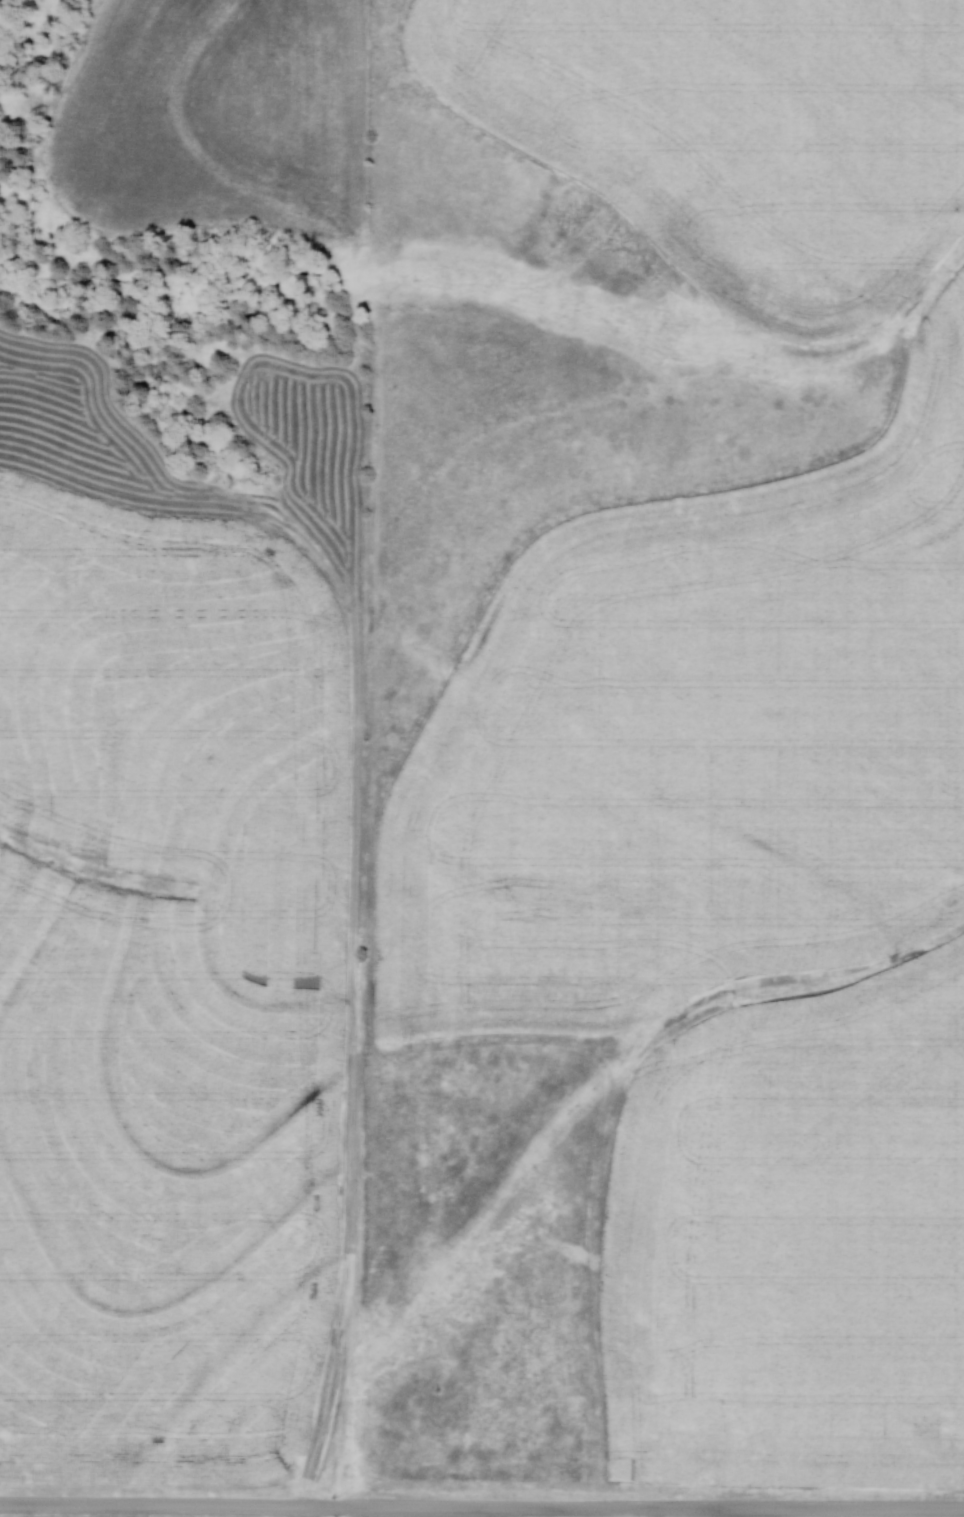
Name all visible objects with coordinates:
road: (482, 1510)

